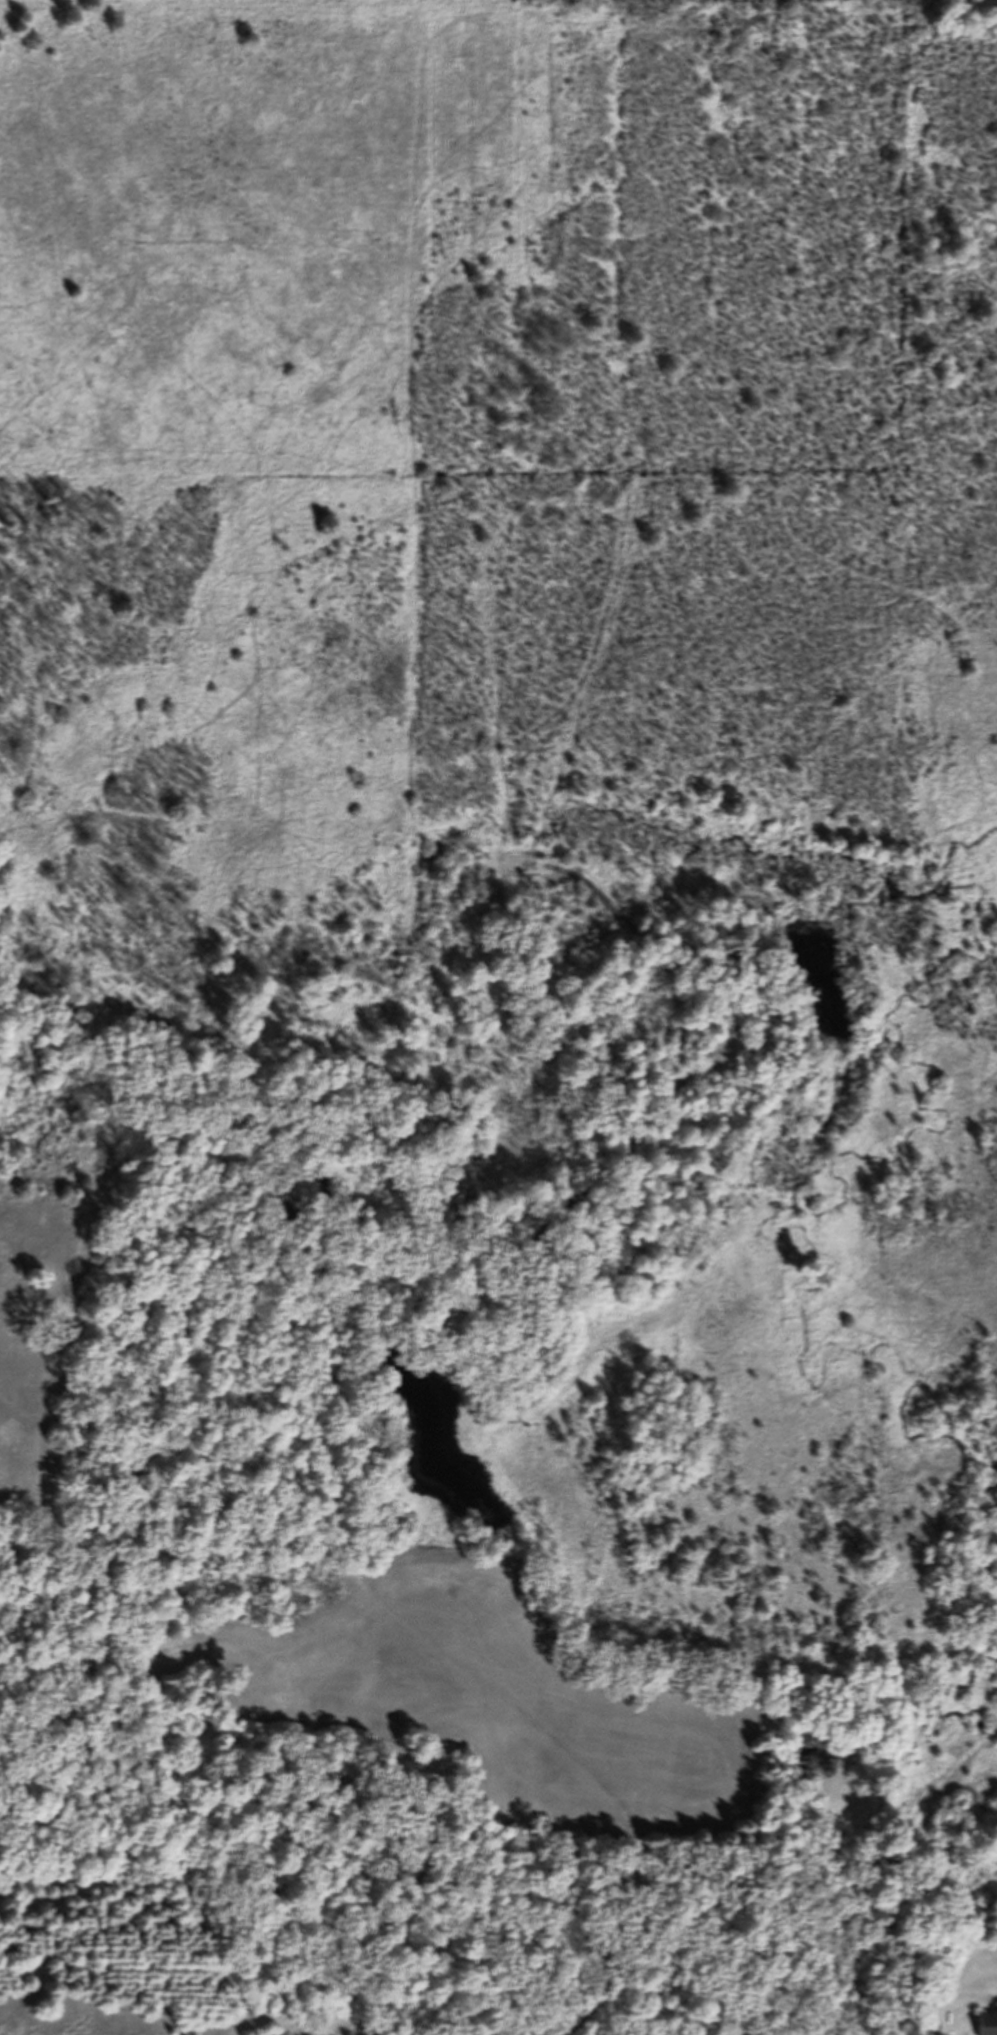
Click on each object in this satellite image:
building: (987, 2027)

